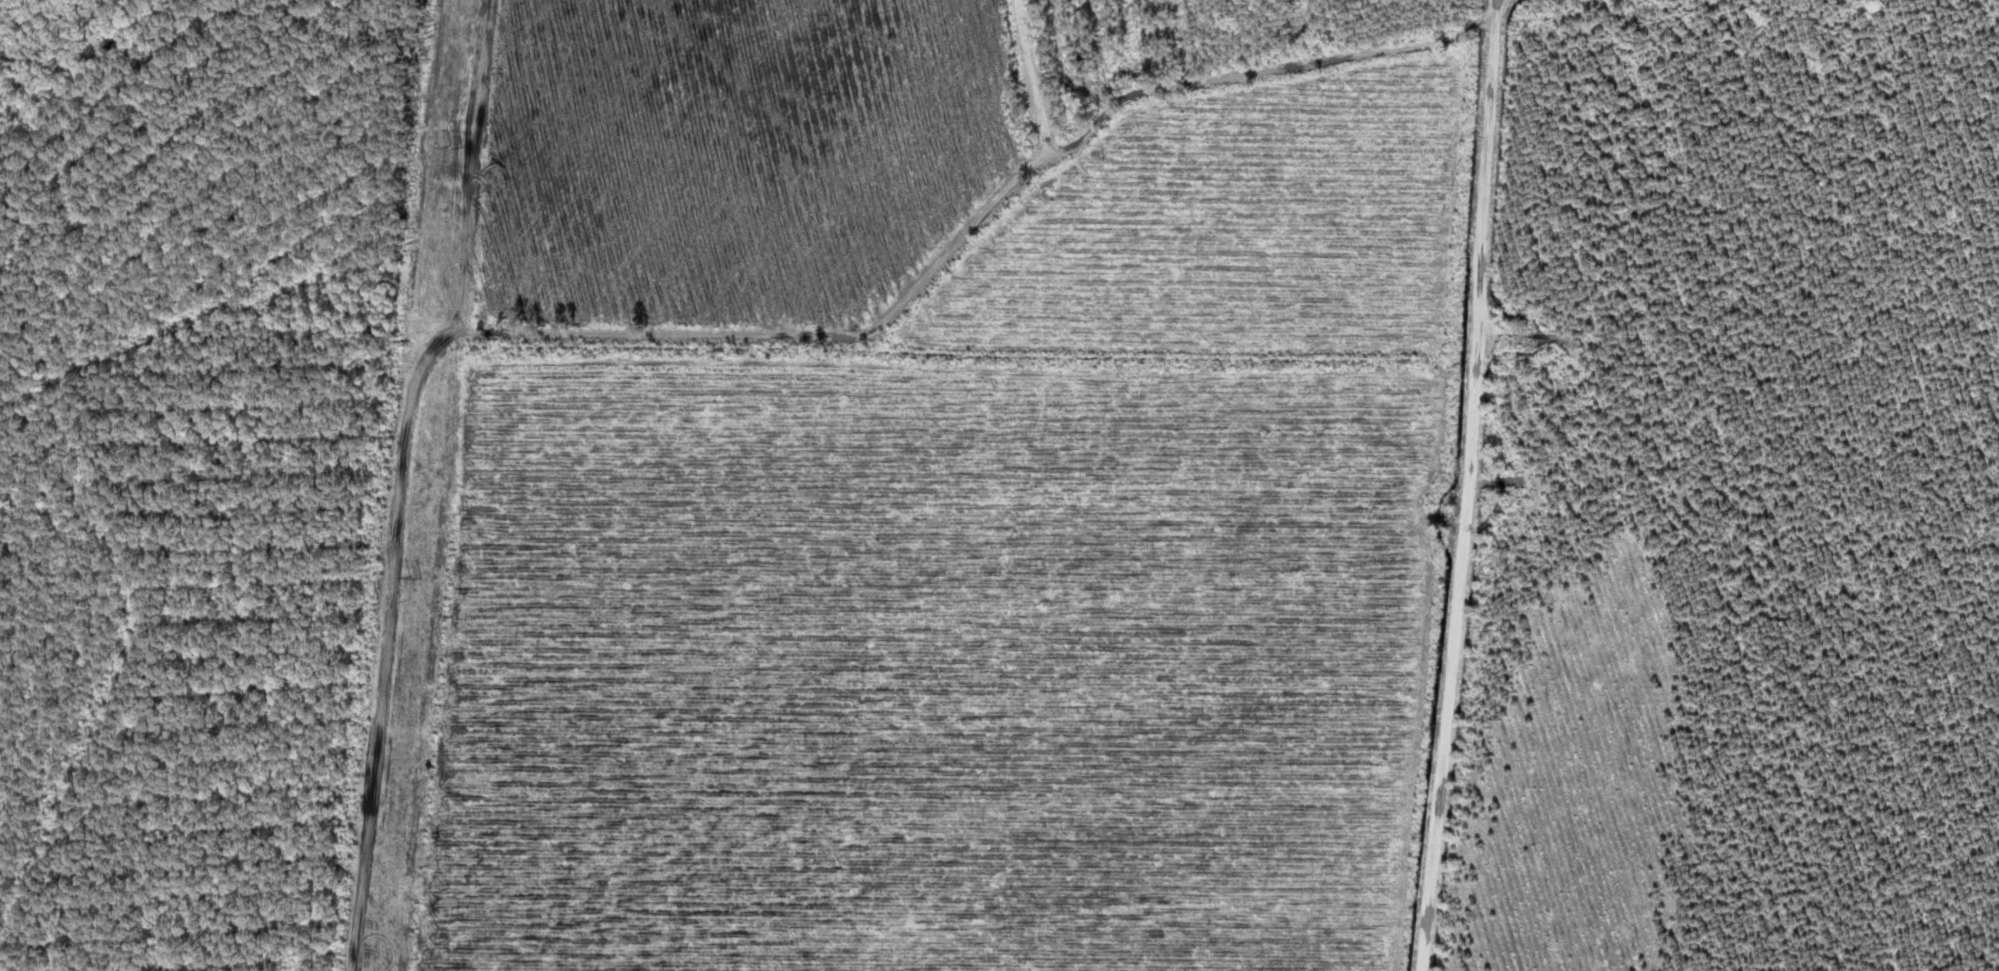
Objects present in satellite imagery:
road: (1034, 71)
power tower: (454, 146)
power tower: (415, 577)
road: (1464, 687)

